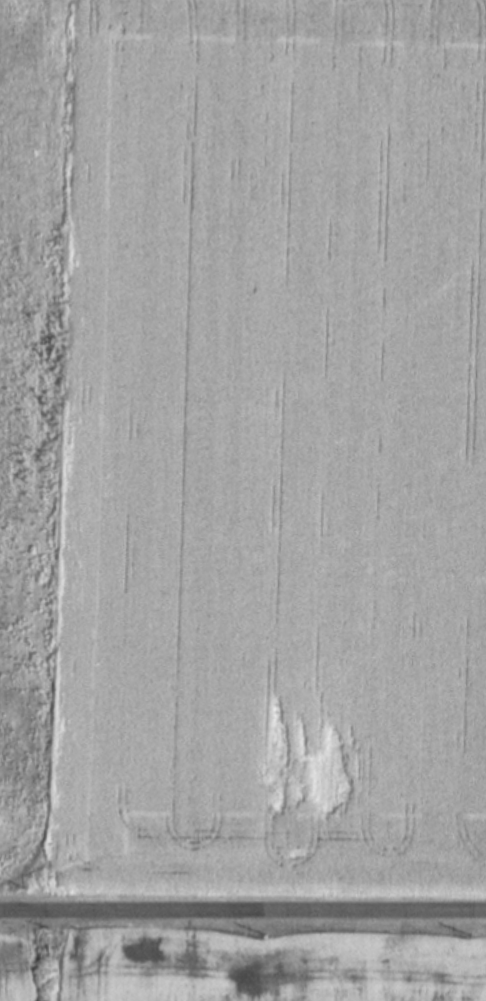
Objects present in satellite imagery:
road: (242, 908)
crop: (242, 969)

